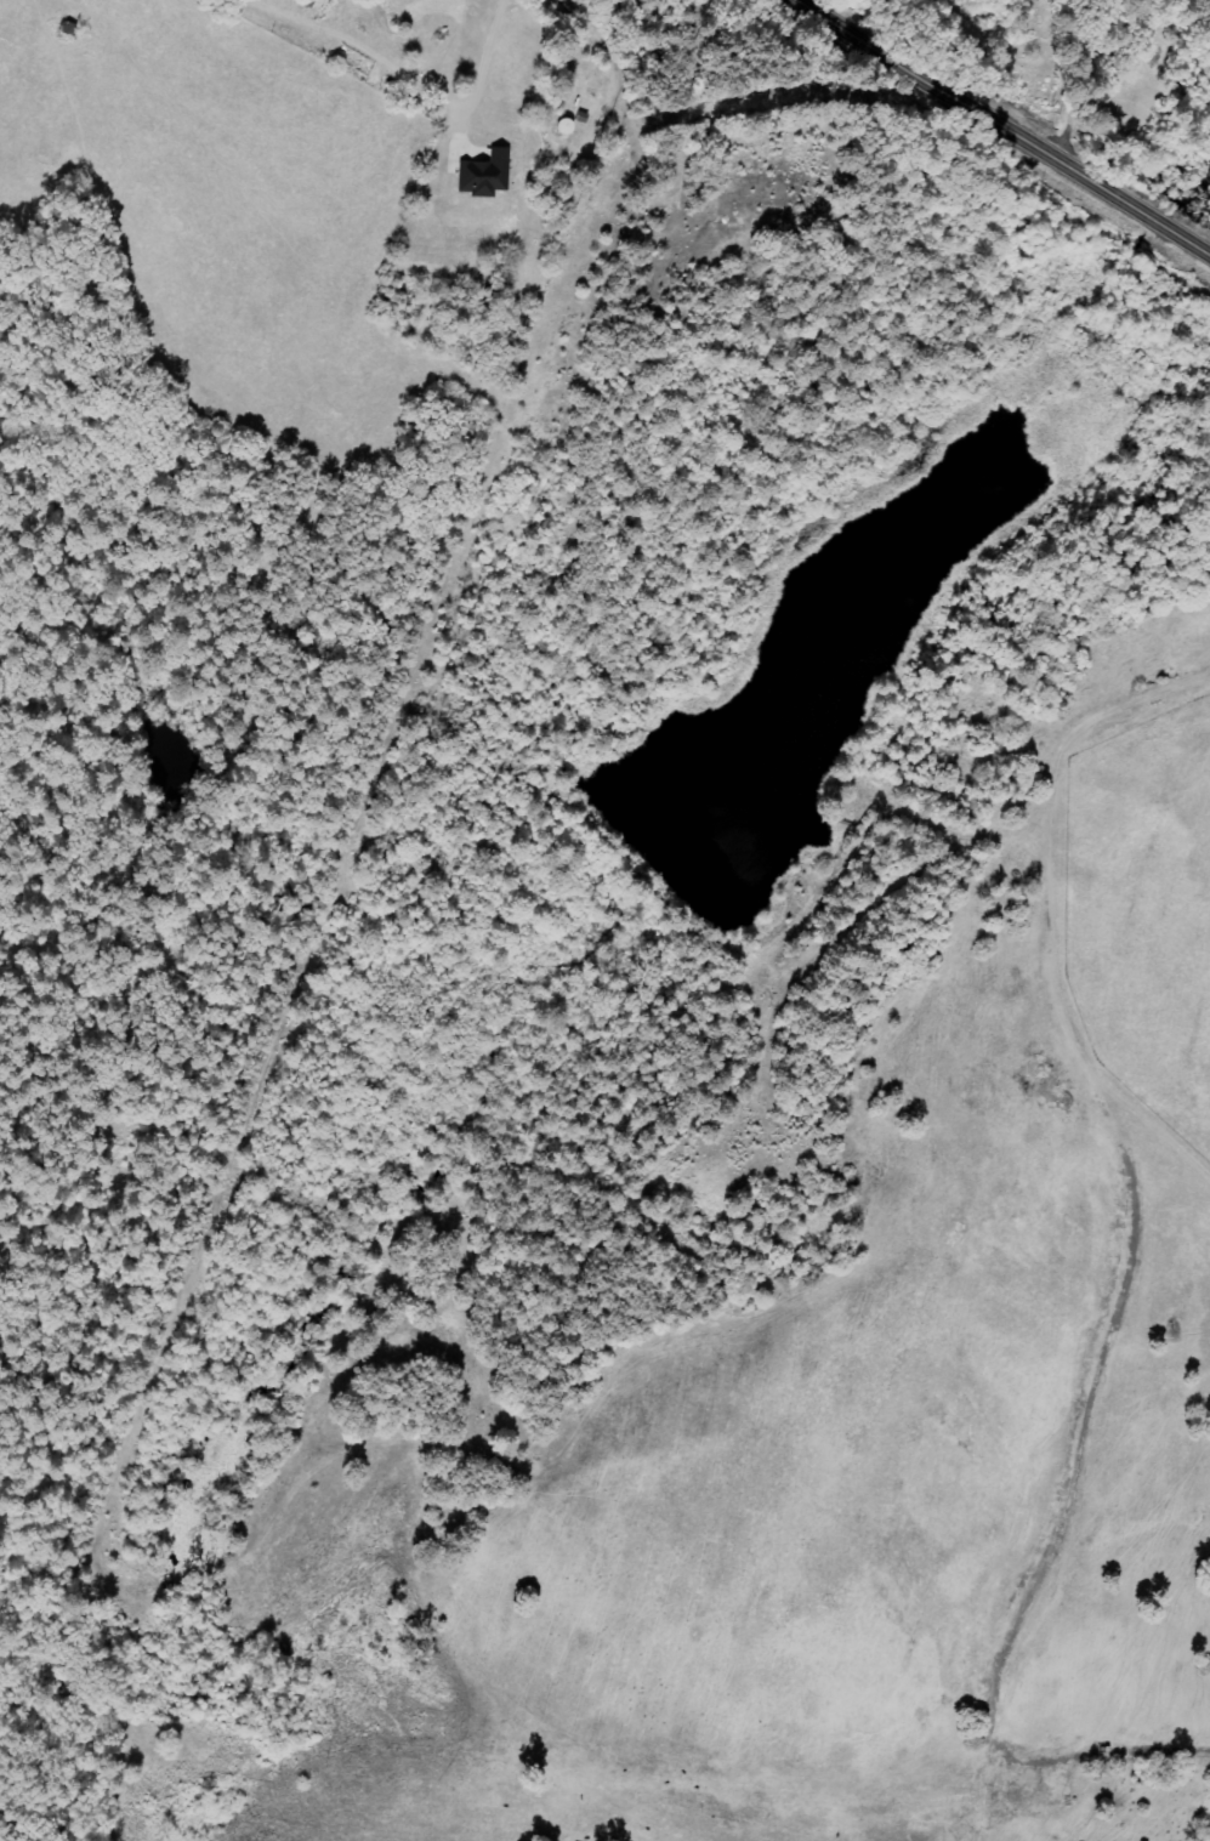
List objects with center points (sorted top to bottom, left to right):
road: (409, 74)
road: (1016, 124)
building: (485, 174)

